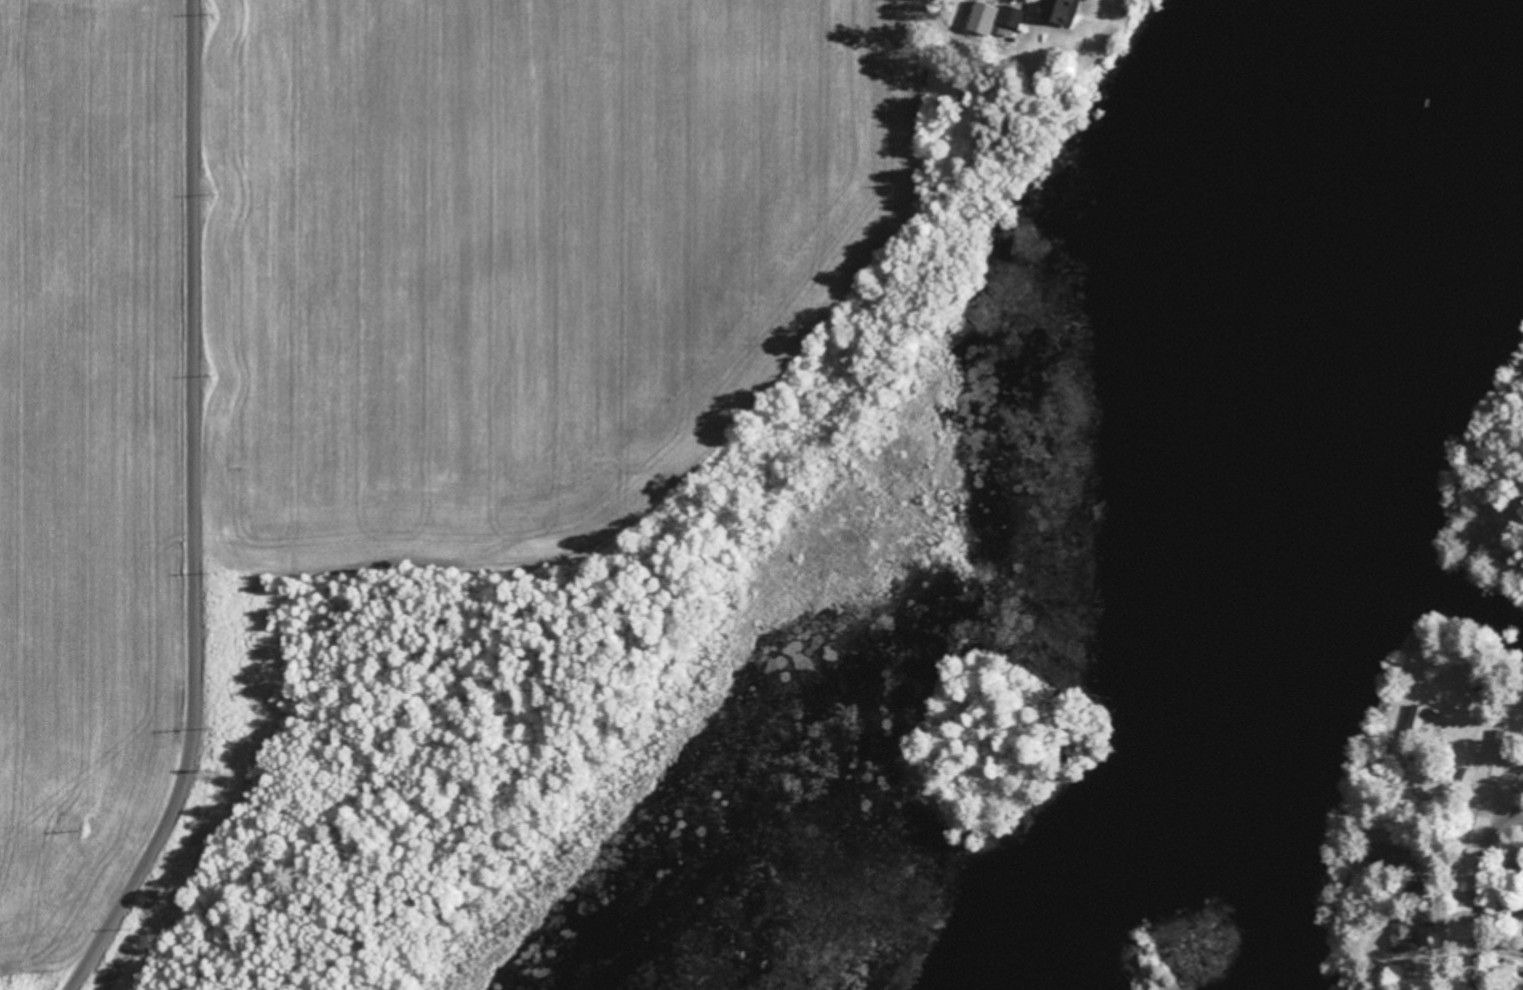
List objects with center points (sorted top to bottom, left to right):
building: (1064, 11)
building: (1012, 15)
building: (984, 17)
road: (209, 513)
river: (1300, 520)
road: (1502, 900)

